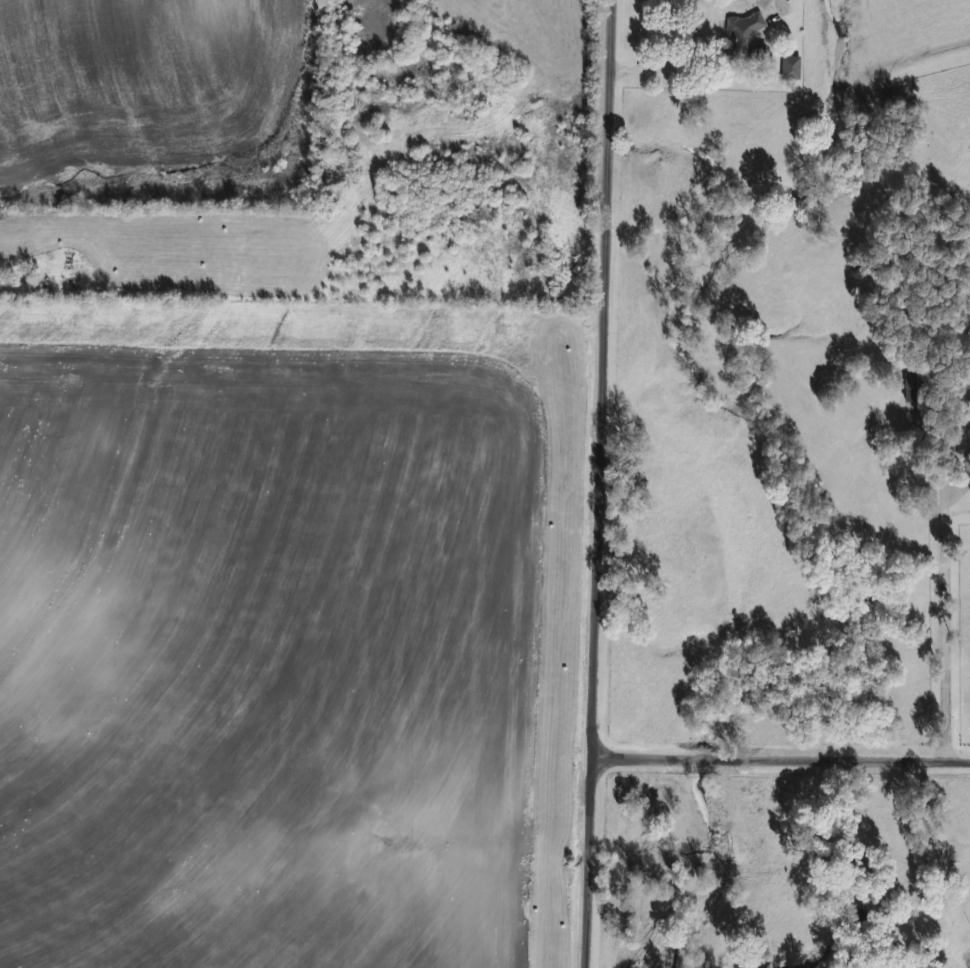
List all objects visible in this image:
road: (665, 34)
building: (747, 35)
road: (691, 44)
building: (794, 67)
road: (636, 68)
building: (920, 385)
road: (600, 484)
road: (941, 620)
road: (780, 758)

